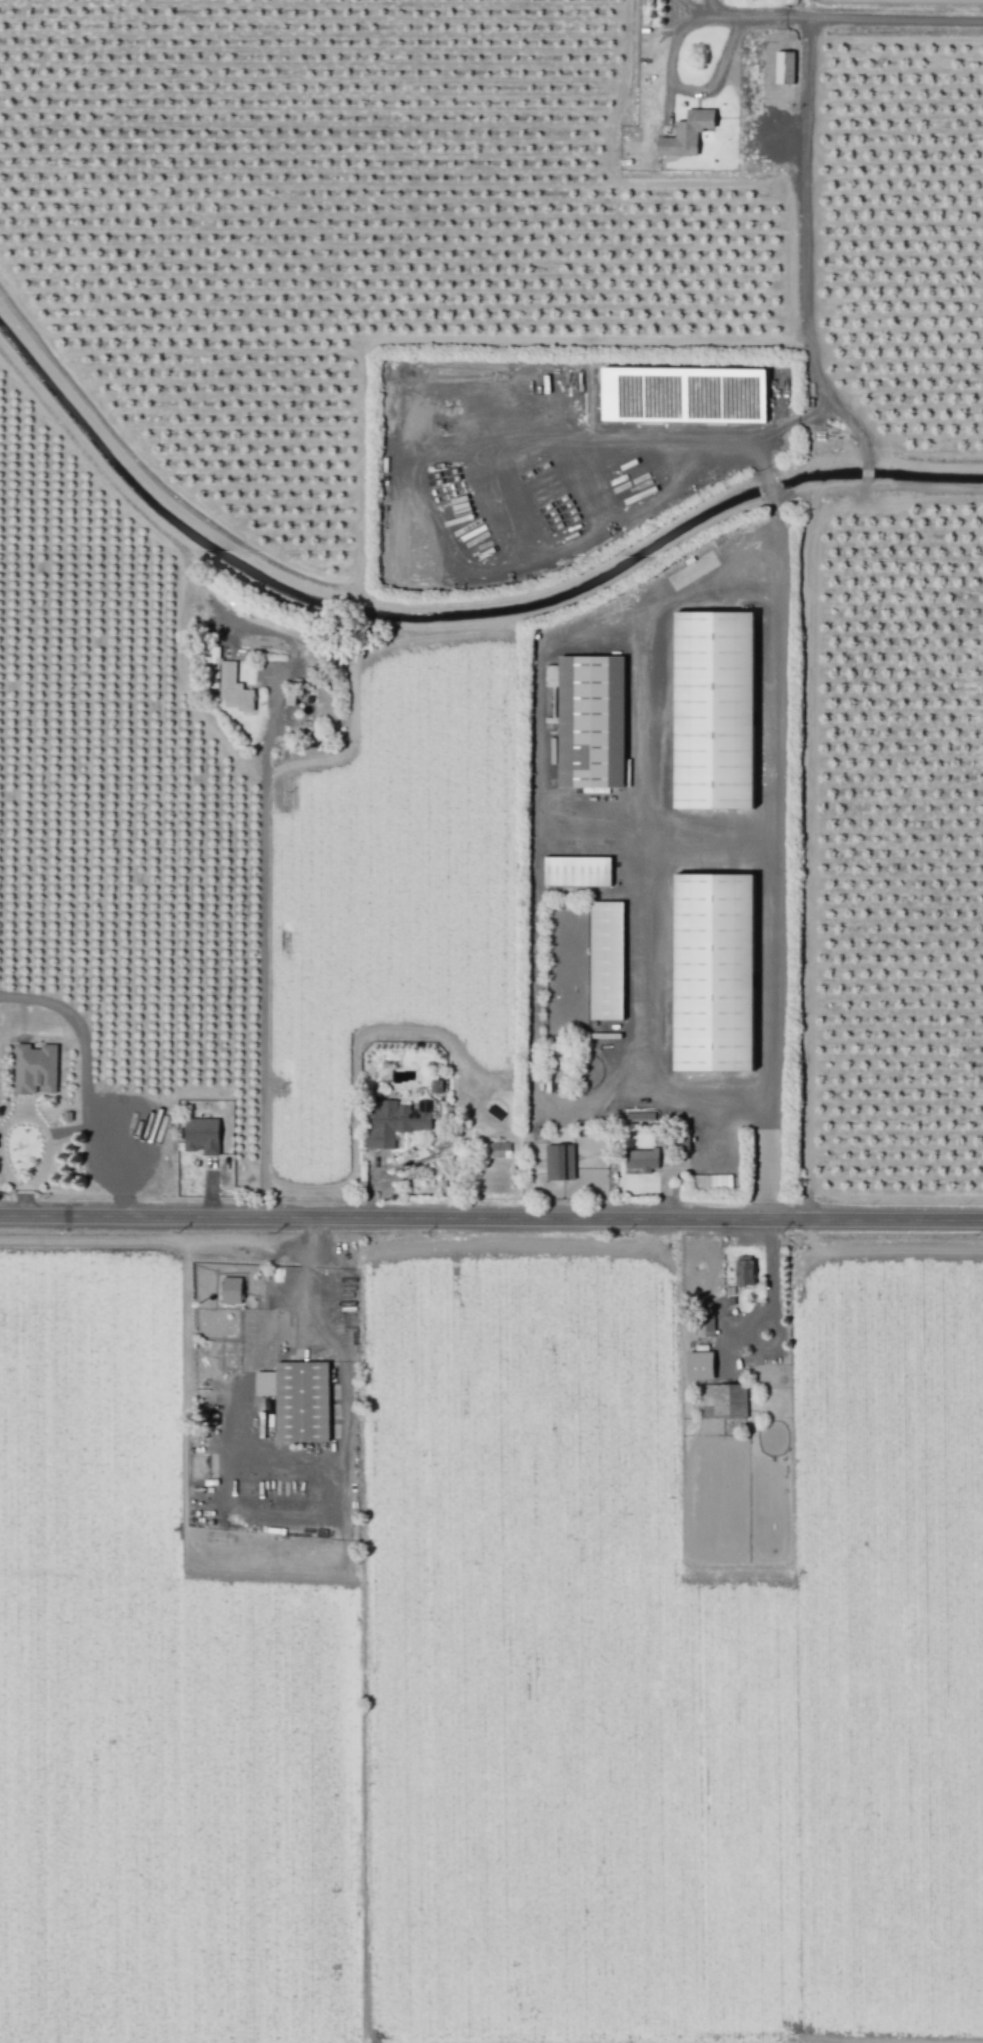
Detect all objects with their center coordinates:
road: (701, 14)
road: (724, 18)
road: (771, 20)
road: (893, 22)
building: (784, 67)
road: (685, 89)
building: (686, 134)
road: (803, 181)
road: (811, 369)
building: (682, 394)
road: (784, 424)
road: (701, 443)
road: (768, 488)
road: (774, 506)
building: (212, 666)
building: (233, 689)
building: (713, 710)
building: (589, 721)
road: (536, 728)
road: (707, 836)
road: (642, 844)
road: (771, 868)
building: (576, 871)
building: (605, 960)
road: (268, 966)
building: (712, 972)
road: (567, 975)
building: (34, 1069)
road: (86, 1077)
building: (435, 1086)
road: (11, 1118)
building: (396, 1122)
building: (201, 1135)
road: (0, 1143)
building: (641, 1160)
building: (559, 1162)
road: (388, 1170)
road: (491, 1217)
building: (743, 1271)
road: (766, 1273)
road: (302, 1274)
building: (230, 1290)
building: (704, 1326)
building: (699, 1365)
building: (301, 1401)
building: (721, 1401)

